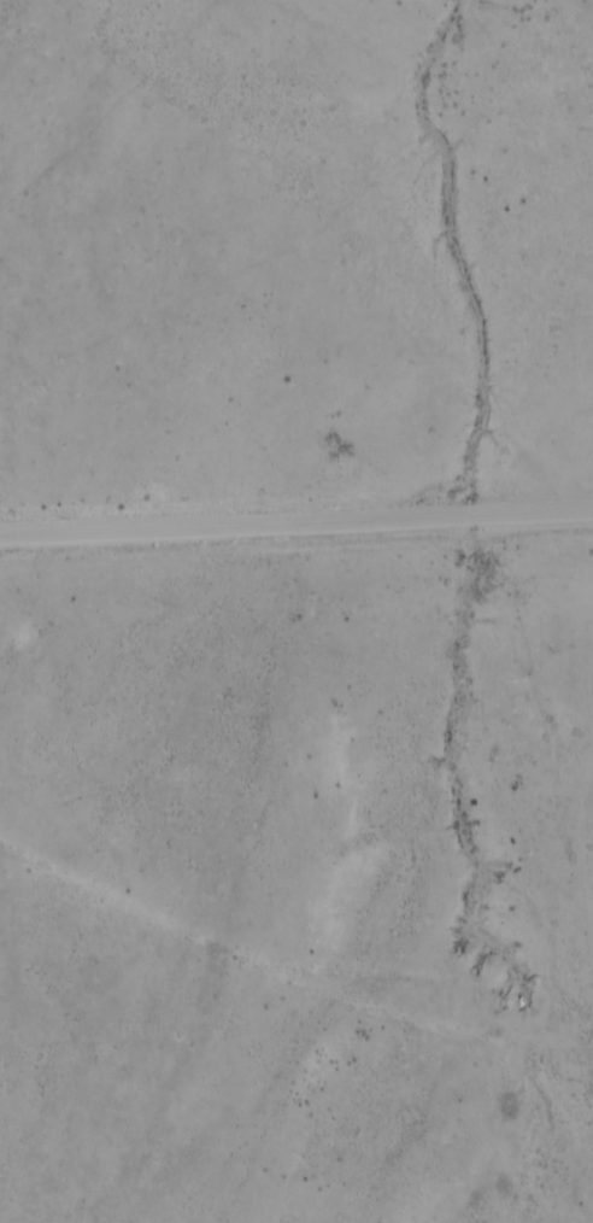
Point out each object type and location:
road: (296, 521)

